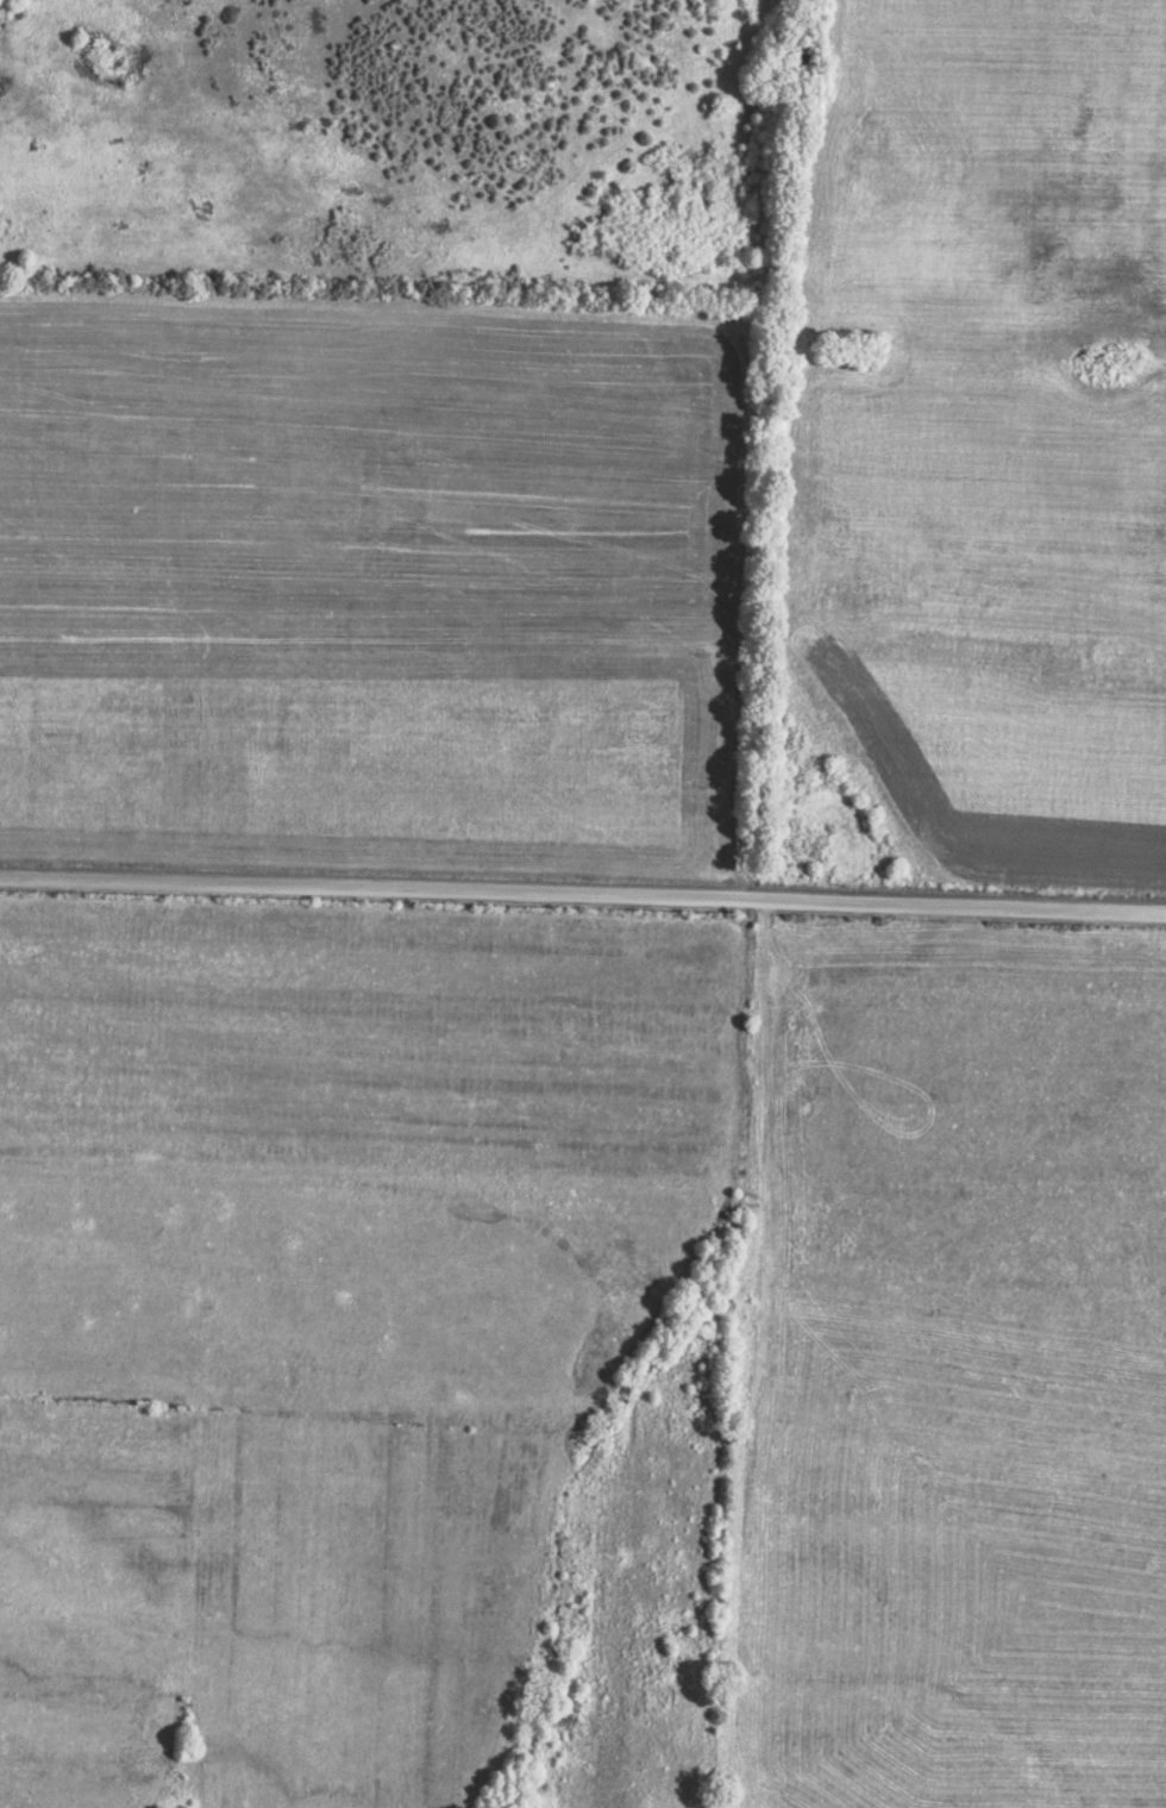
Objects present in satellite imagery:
road: (583, 895)

